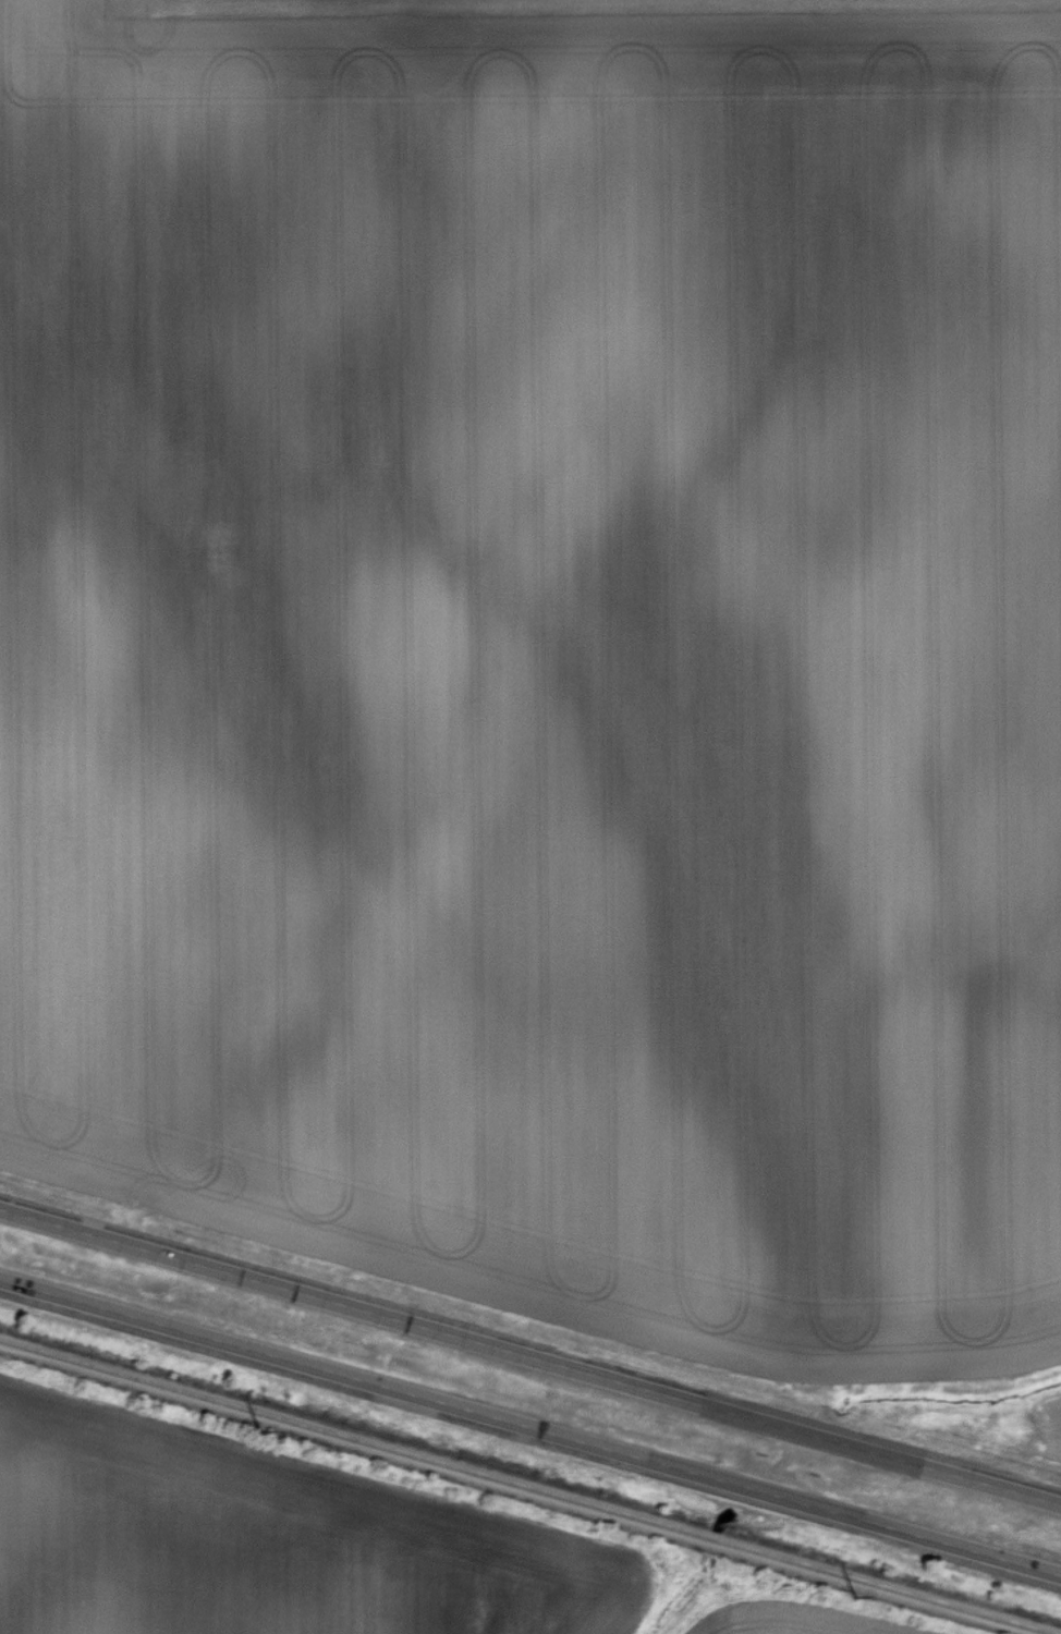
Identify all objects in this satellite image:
road: (529, 1356)
road: (530, 1424)
power tower: (259, 1432)
railway: (469, 1505)
power tower: (853, 1596)

